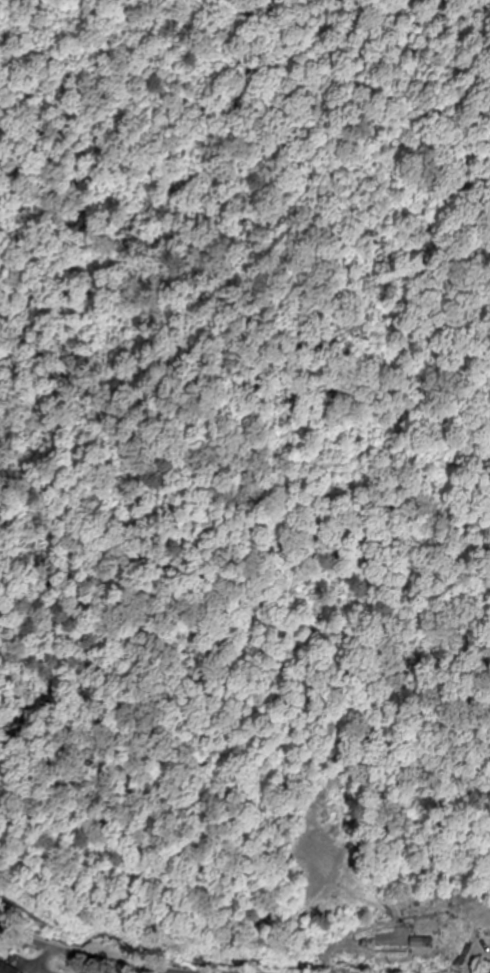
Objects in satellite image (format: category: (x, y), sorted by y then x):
building: (417, 944)
road: (86, 956)

